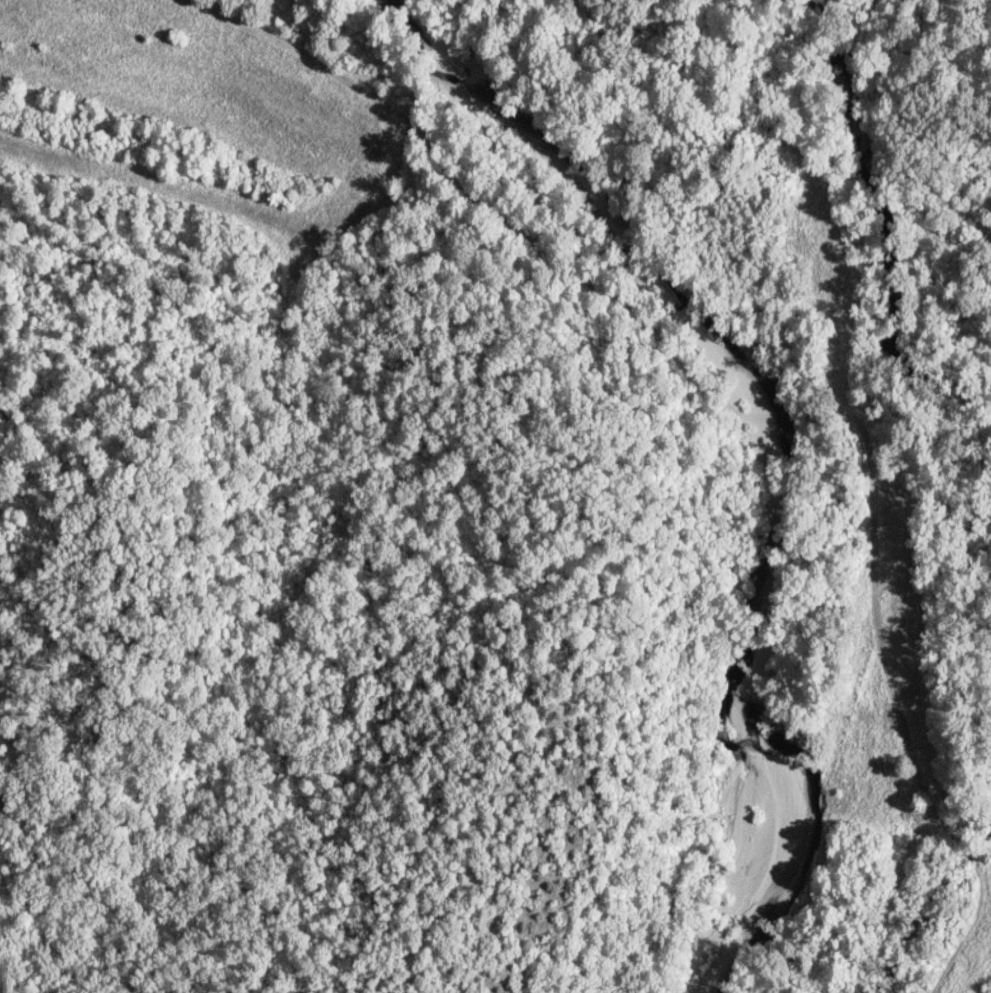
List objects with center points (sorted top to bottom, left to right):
road: (759, 420)

